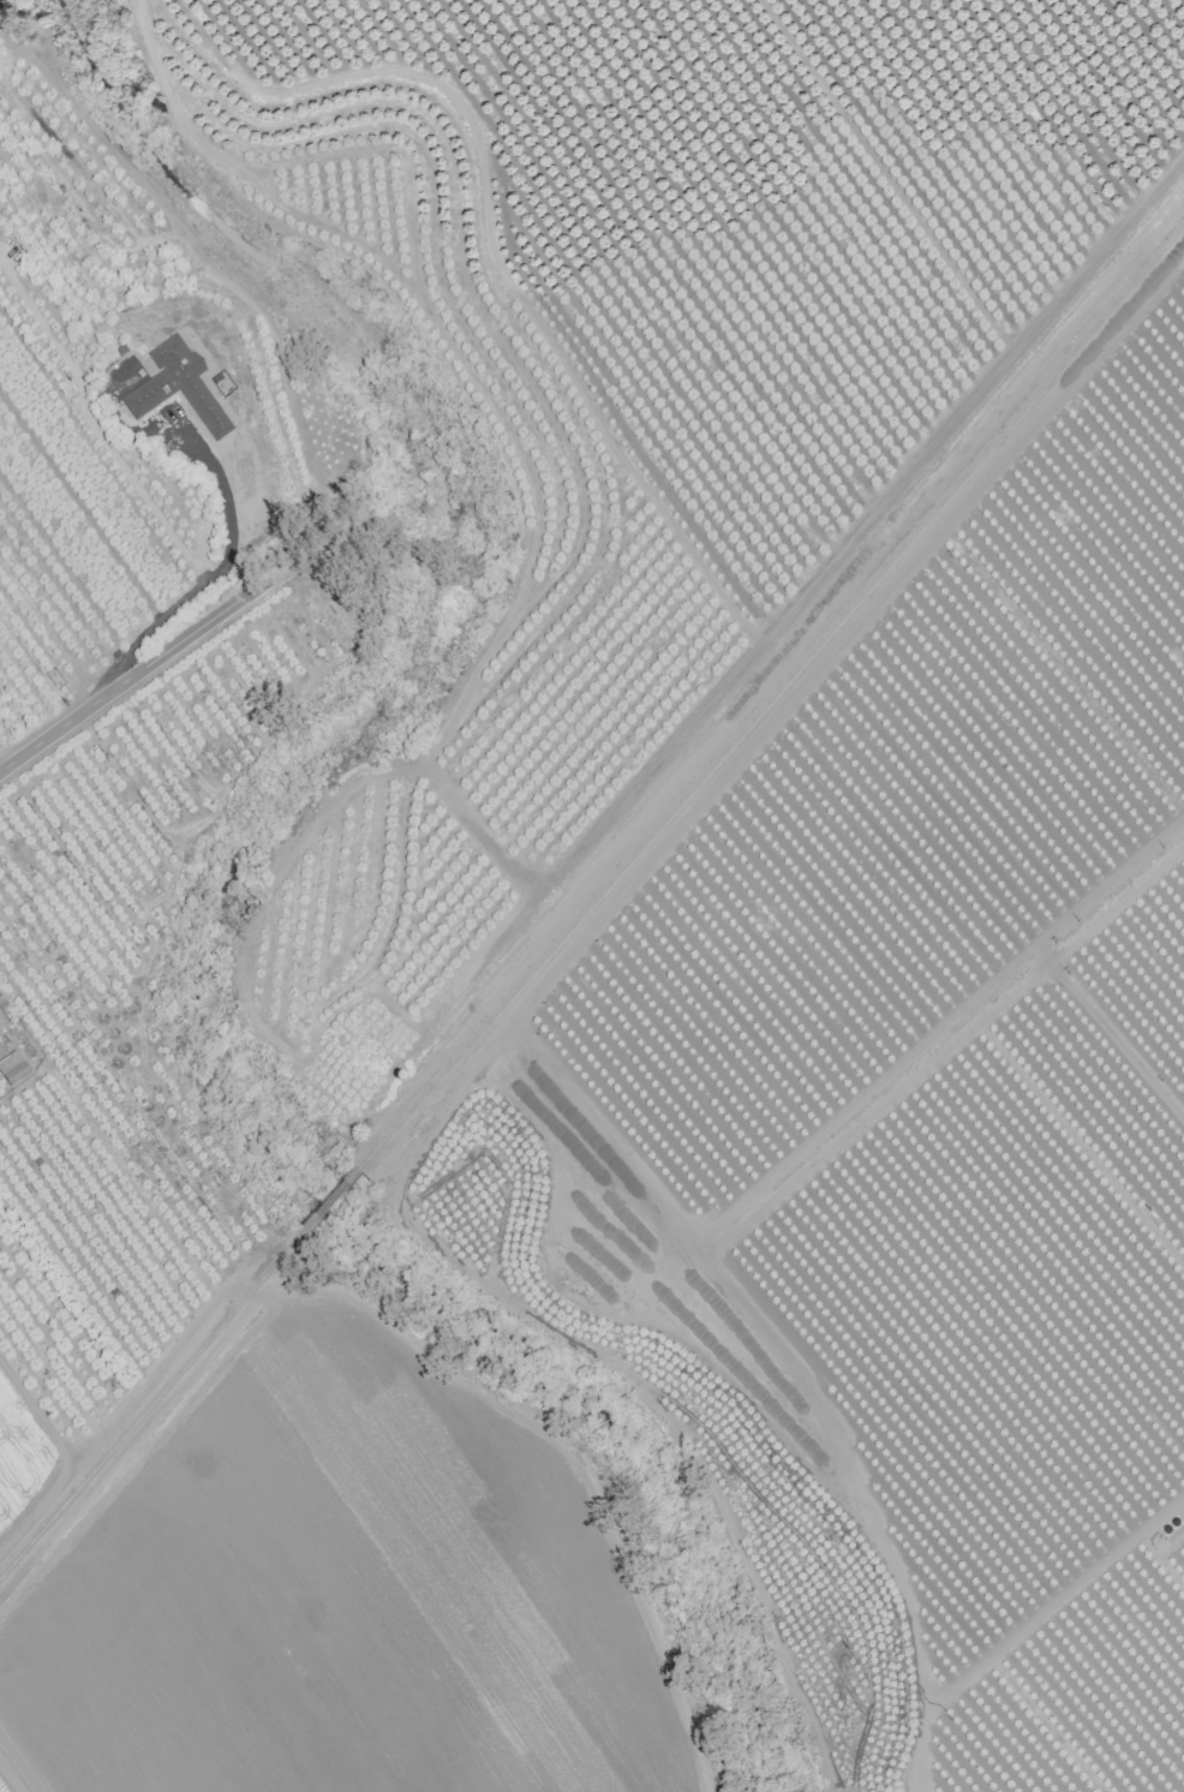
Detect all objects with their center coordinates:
building: (178, 387)
road: (161, 658)
railway: (770, 695)
building: (13, 1069)
crop: (223, 1152)
railway: (329, 1199)
railway: (151, 1402)

